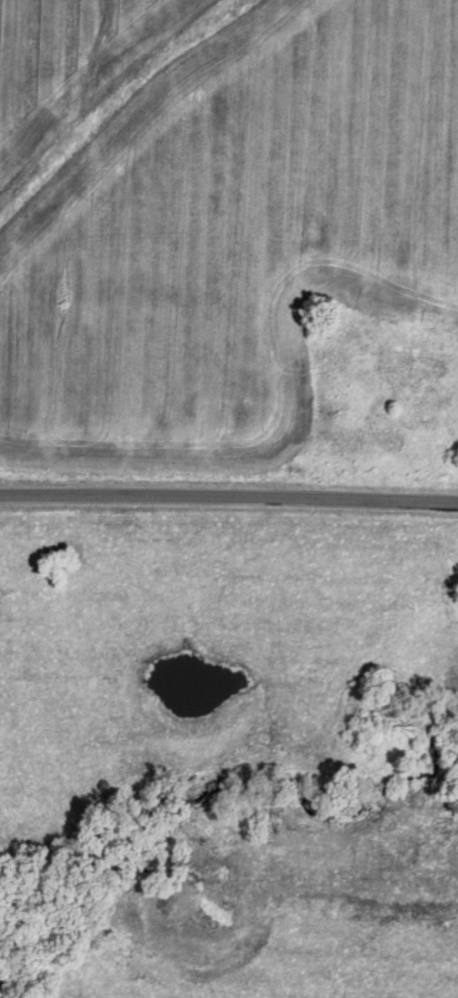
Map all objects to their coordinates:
road: (229, 508)

